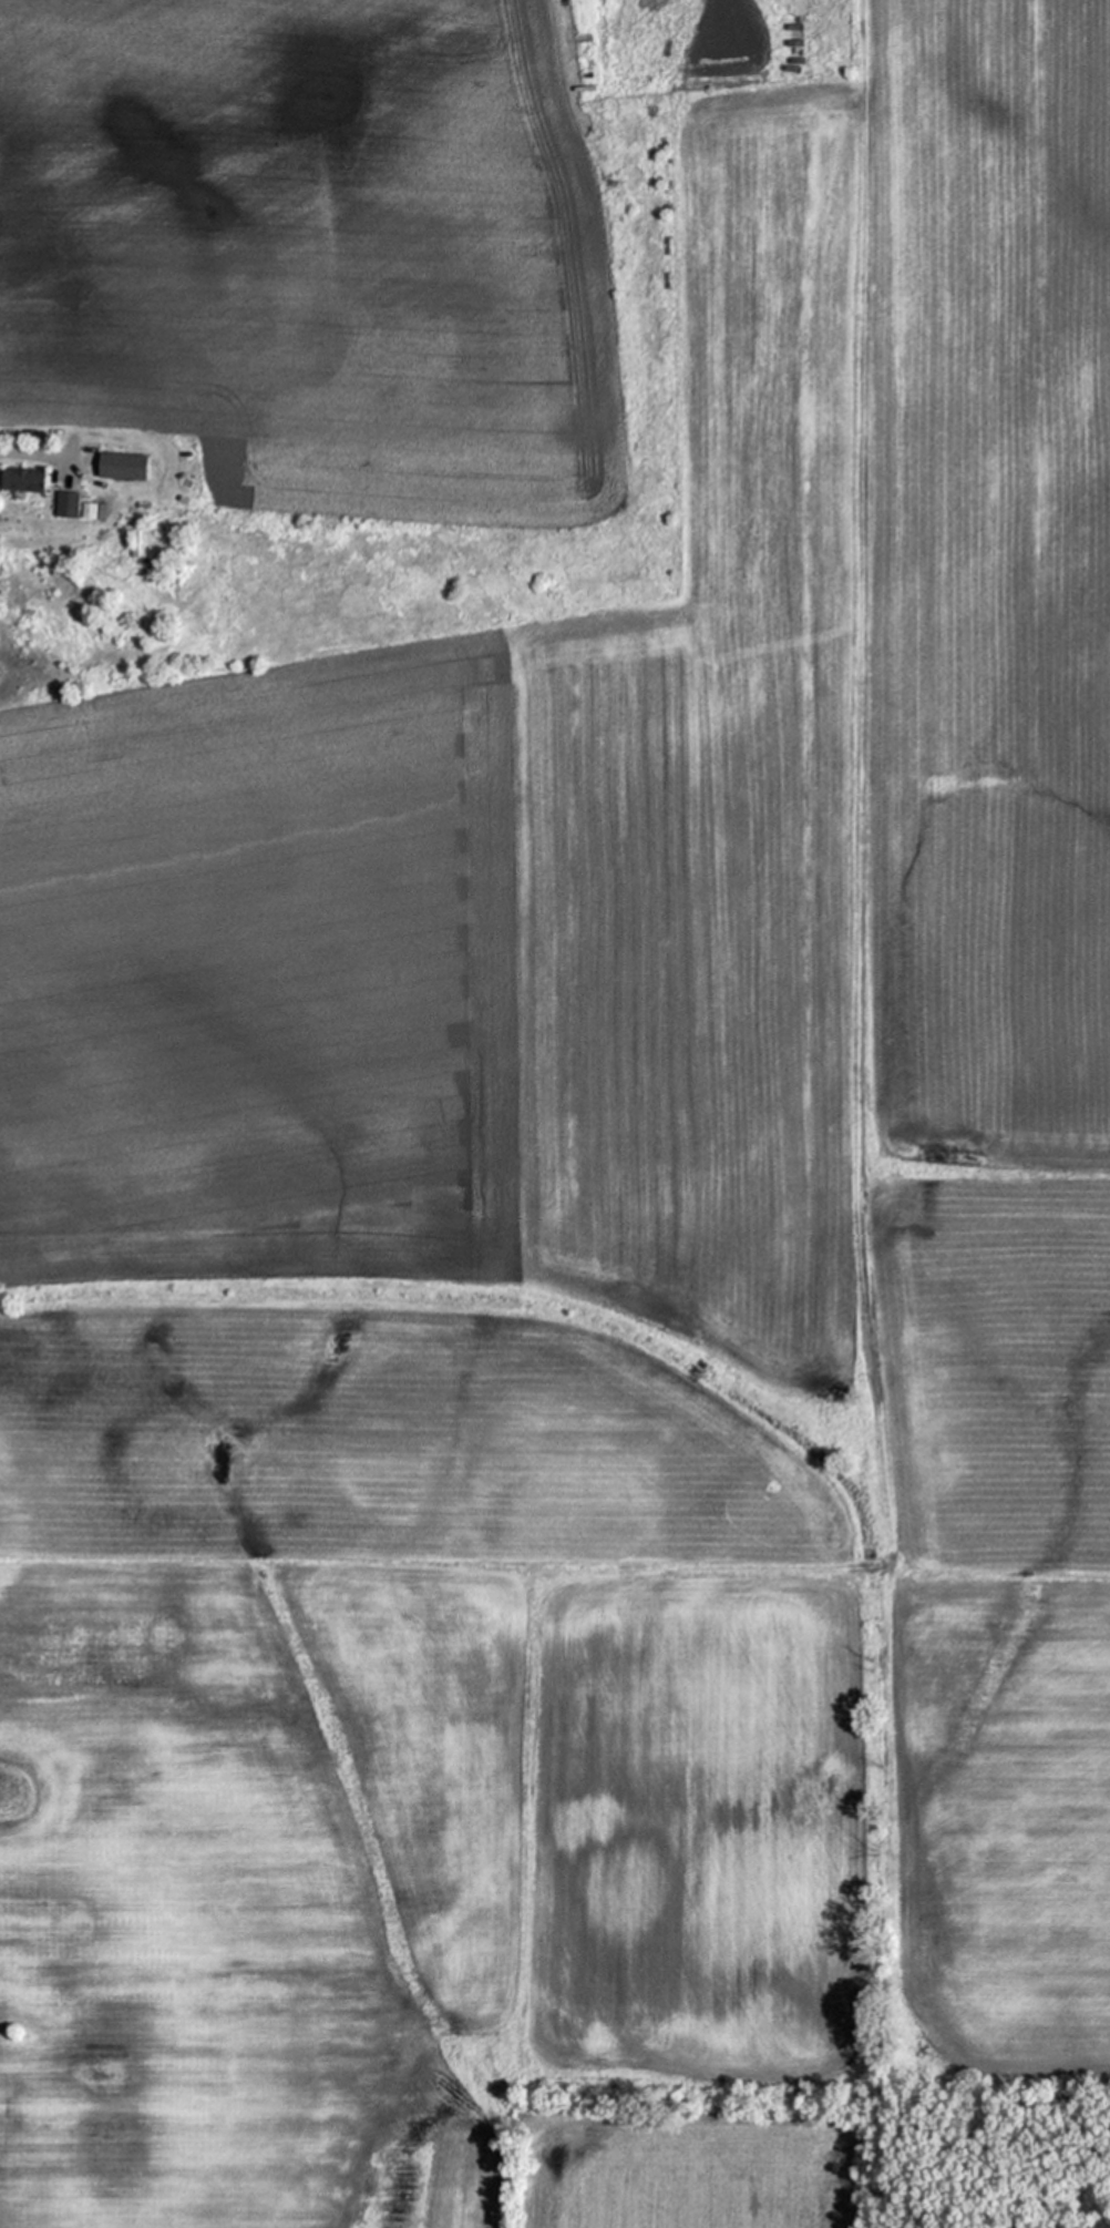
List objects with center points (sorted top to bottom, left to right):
road: (35, 454)
building: (127, 468)
building: (27, 479)
building: (71, 504)
building: (92, 511)
building: (132, 539)
building: (137, 541)

